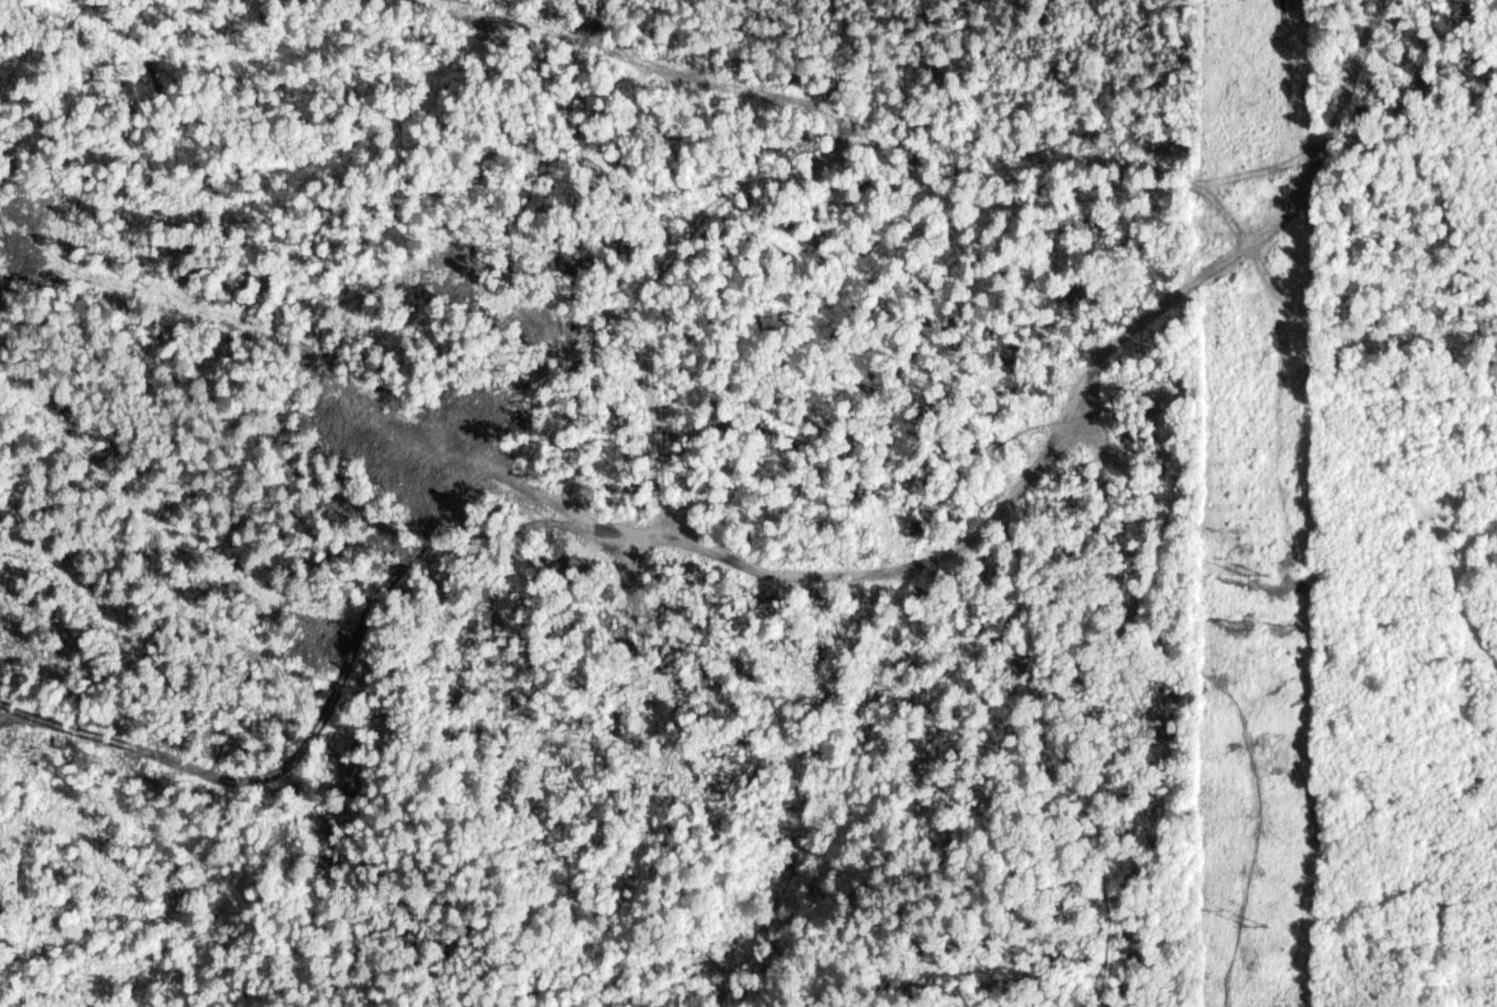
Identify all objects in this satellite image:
power tower: (1267, 572)
power tower: (1262, 922)

